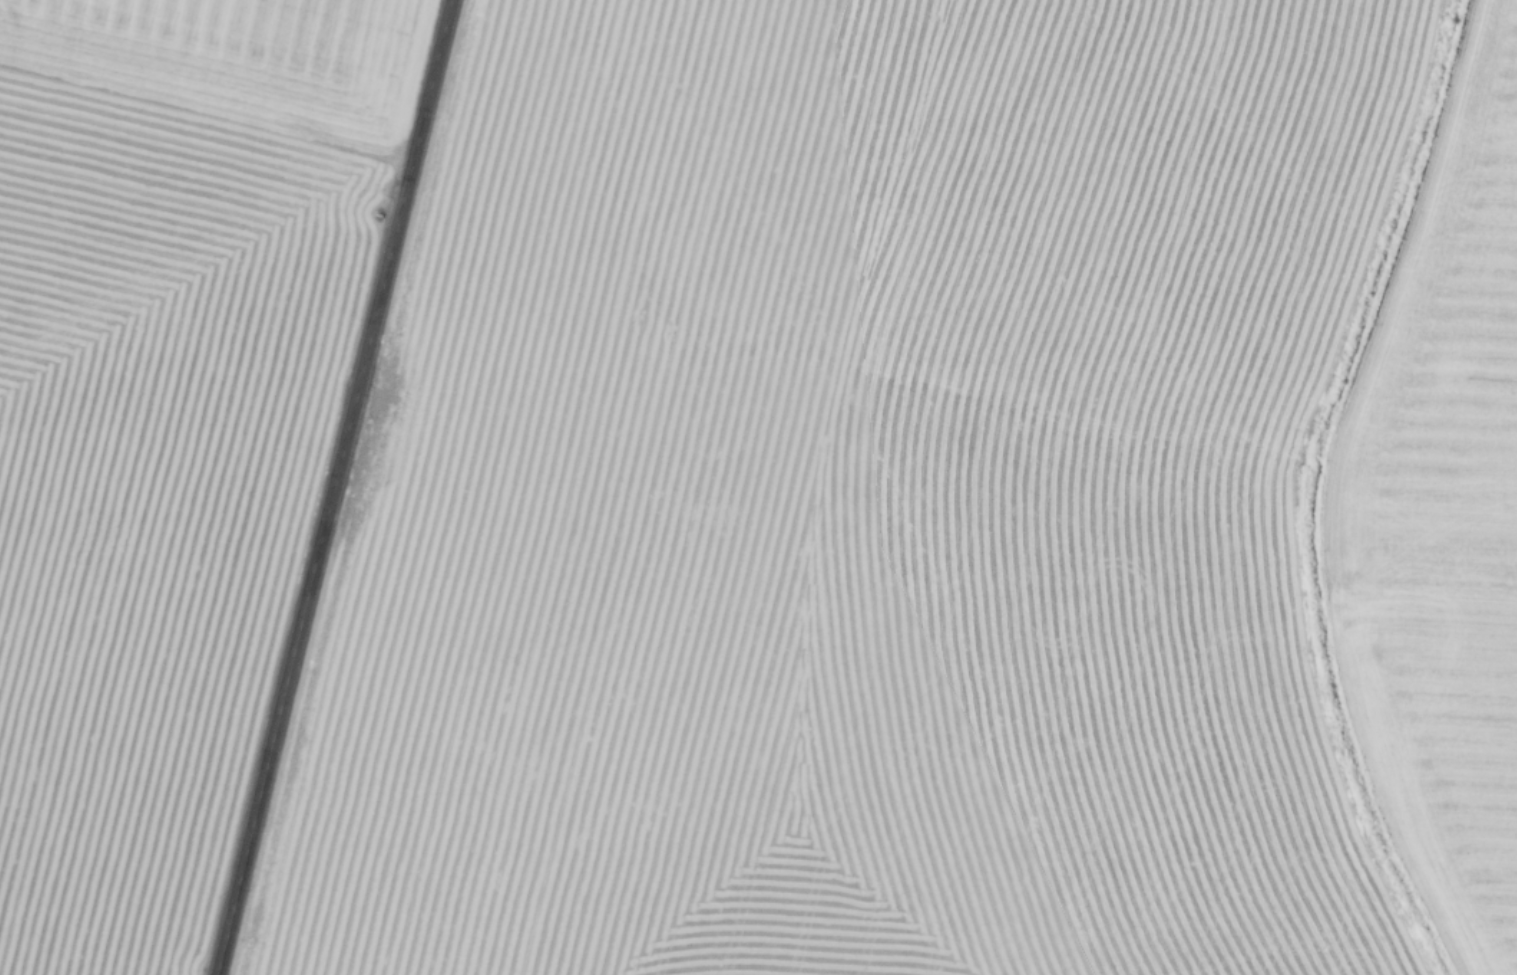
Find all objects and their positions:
crop: (164, 427)
road: (329, 487)
crop: (844, 502)
crop: (1440, 513)

